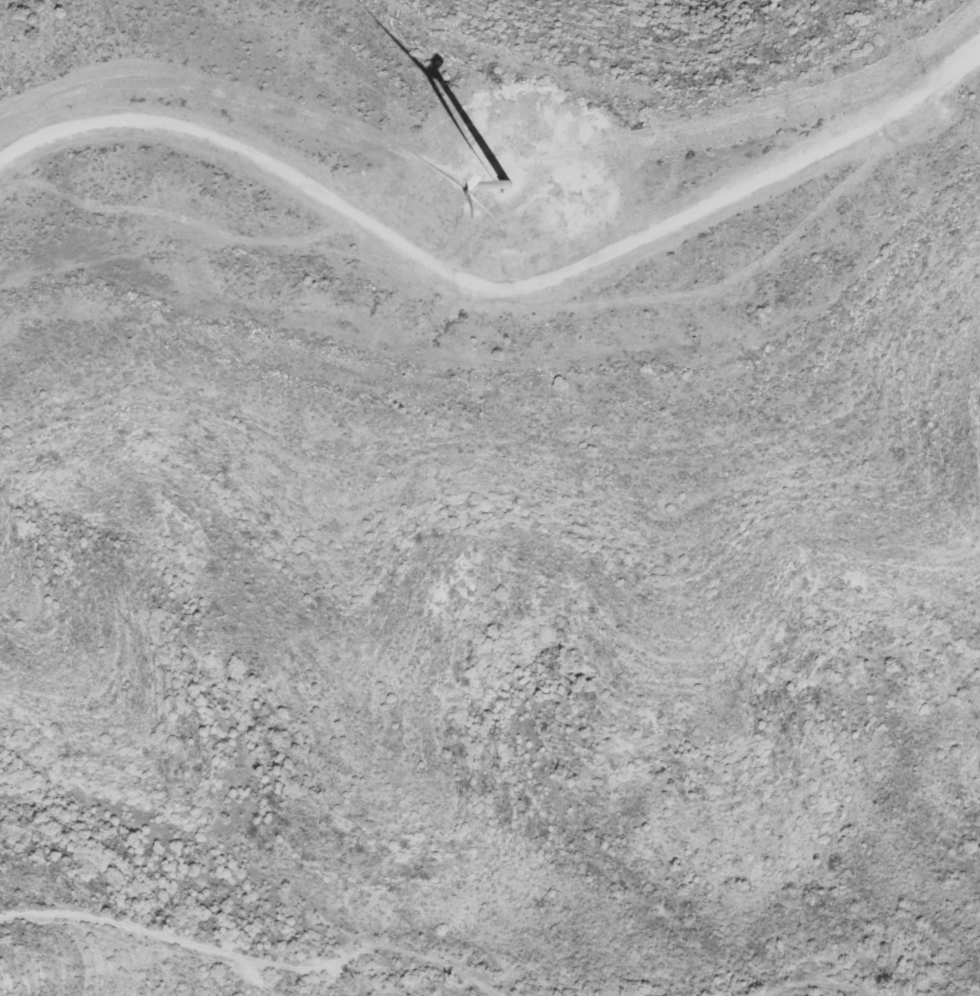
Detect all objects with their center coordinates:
wind turbine: (494, 170)

